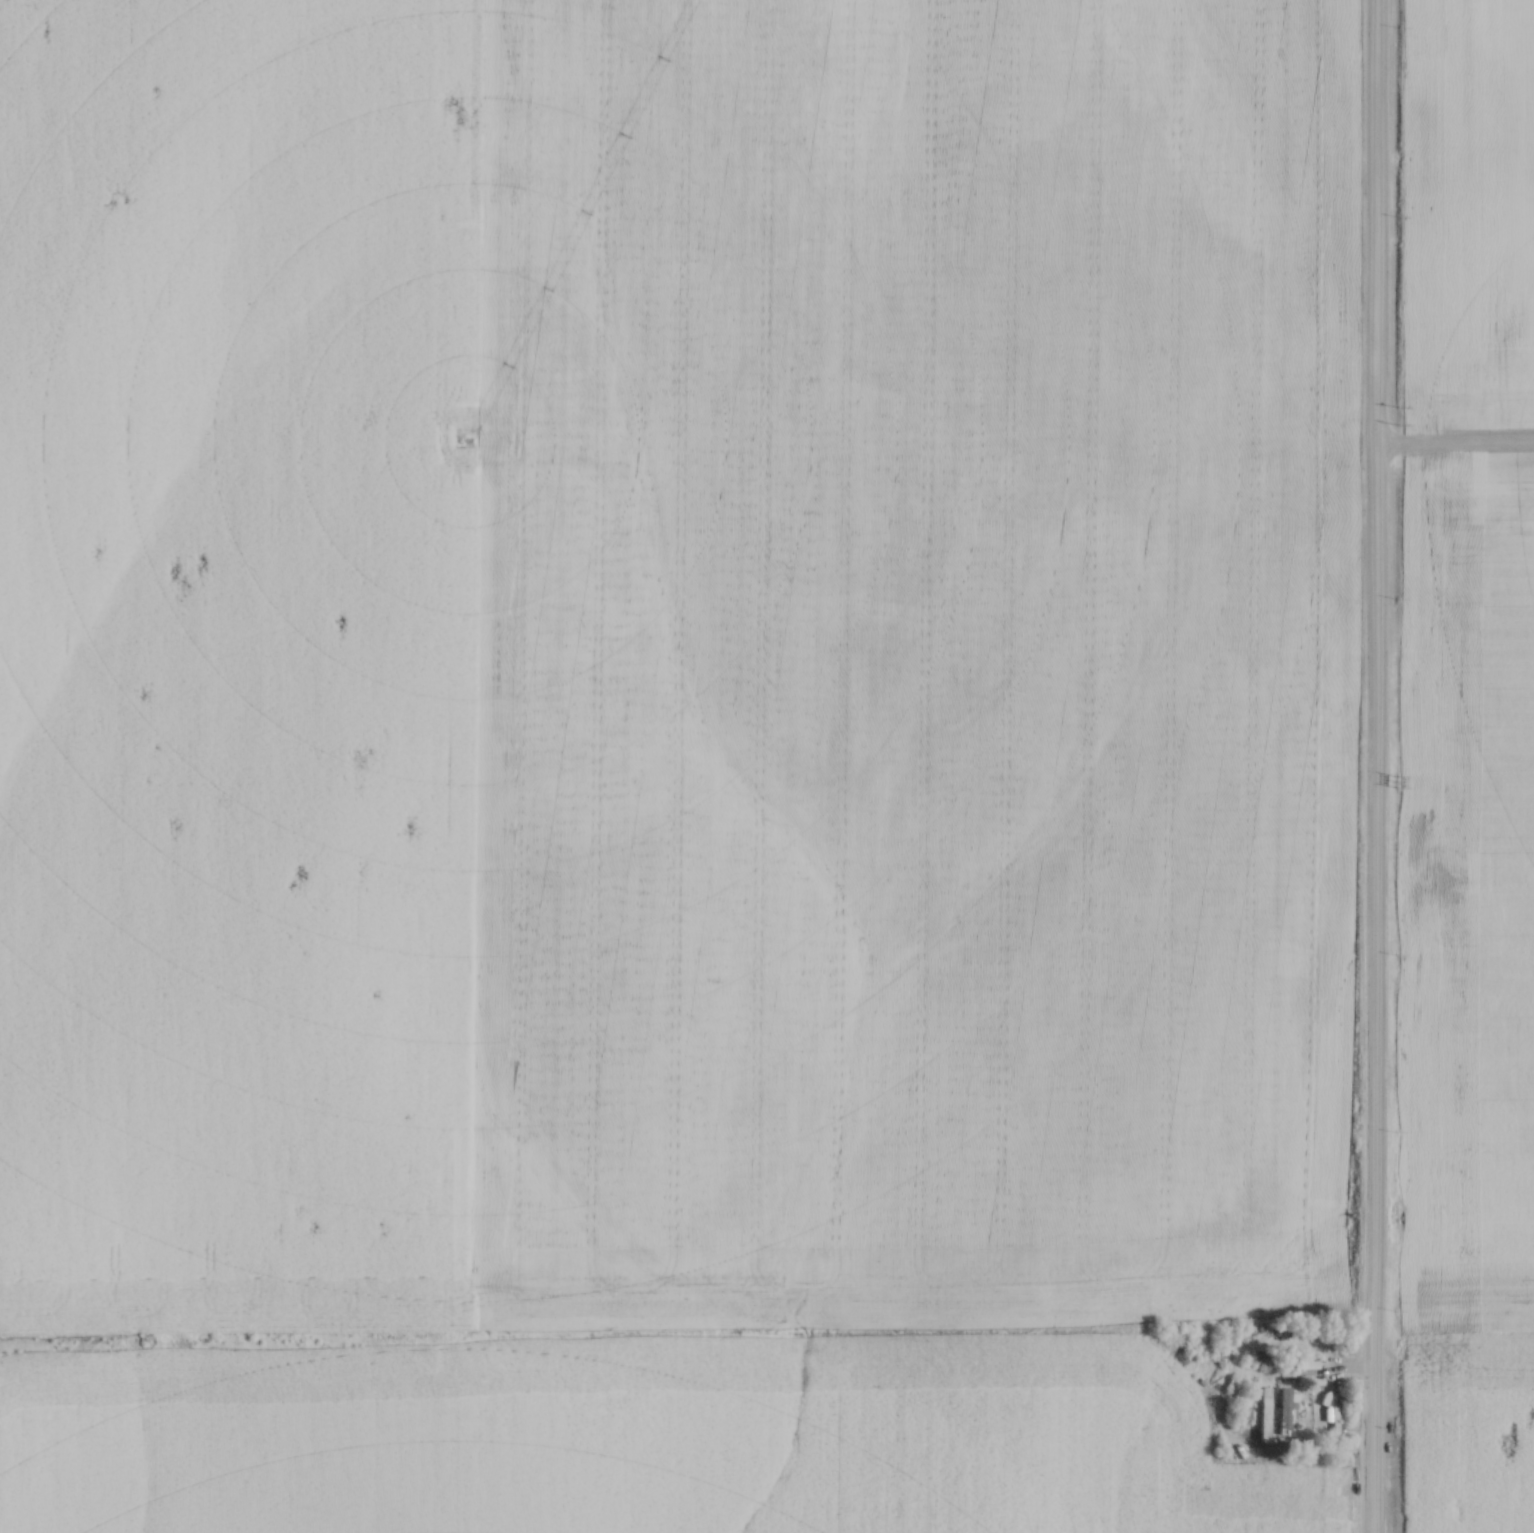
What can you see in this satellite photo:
road: (1455, 452)
road: (1375, 766)
building: (1268, 1411)
building: (1283, 1411)

